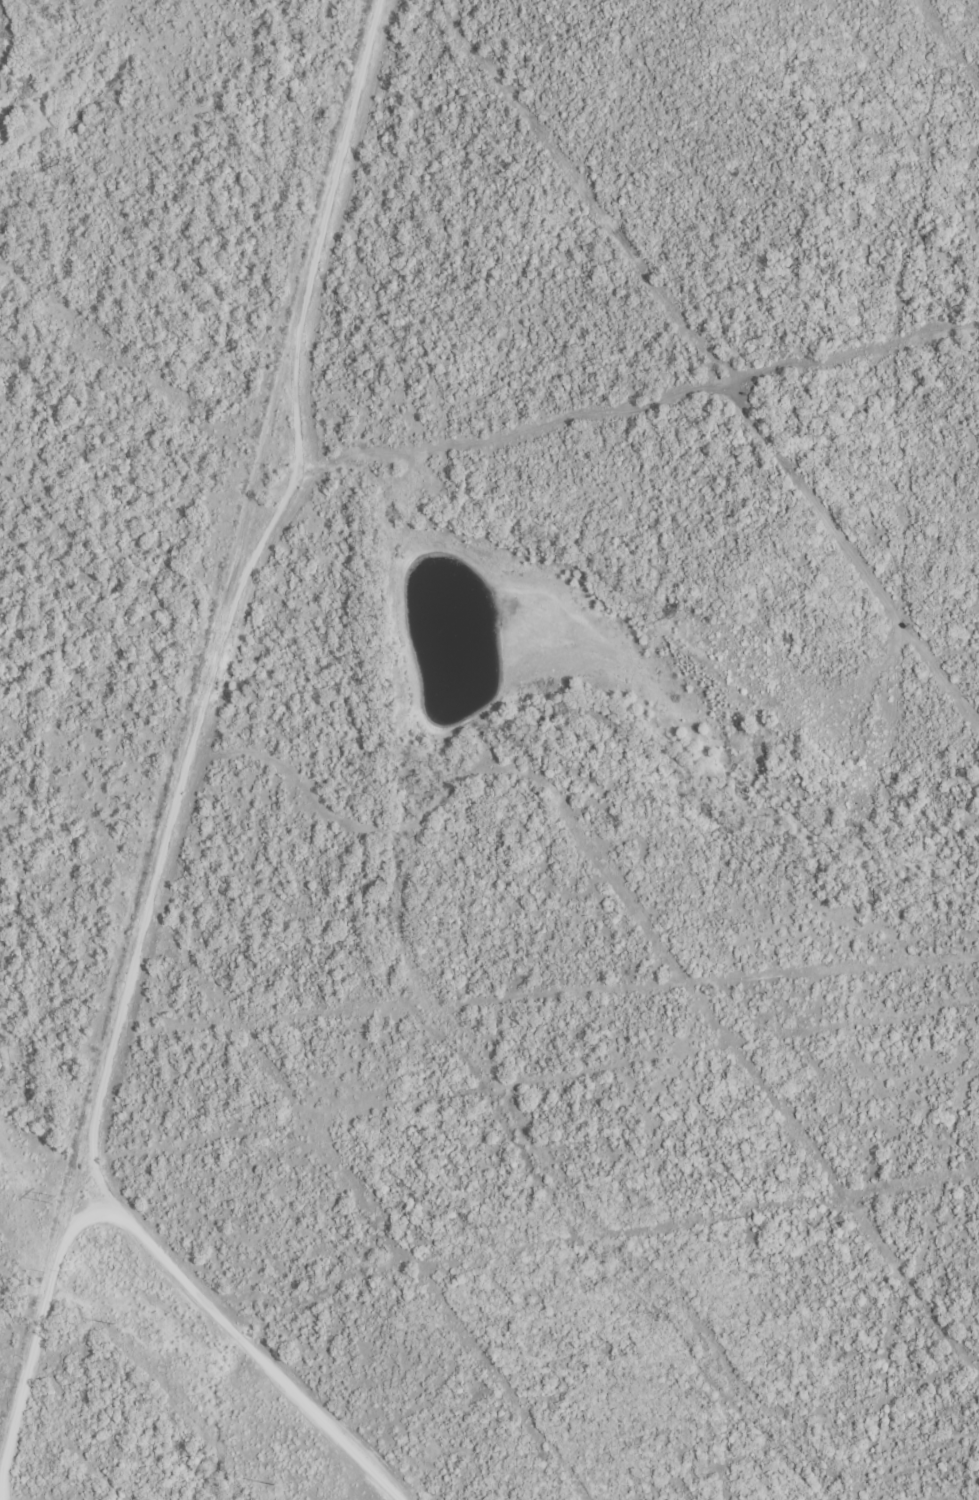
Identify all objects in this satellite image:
power tower: (52, 1201)
power tower: (117, 1327)
power tower: (275, 1485)

